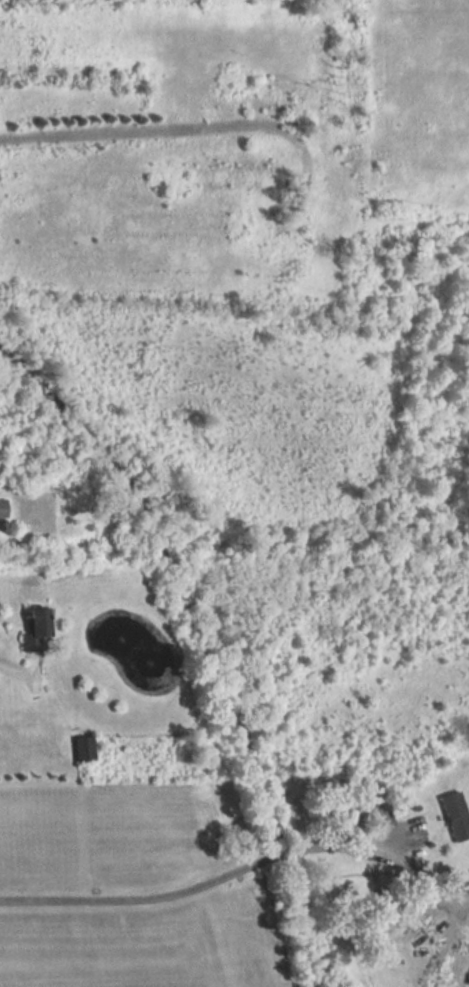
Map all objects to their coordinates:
building: (2, 509)
building: (34, 629)
road: (10, 668)
building: (82, 749)
building: (454, 816)
road: (352, 843)
road: (291, 853)
road: (137, 897)

